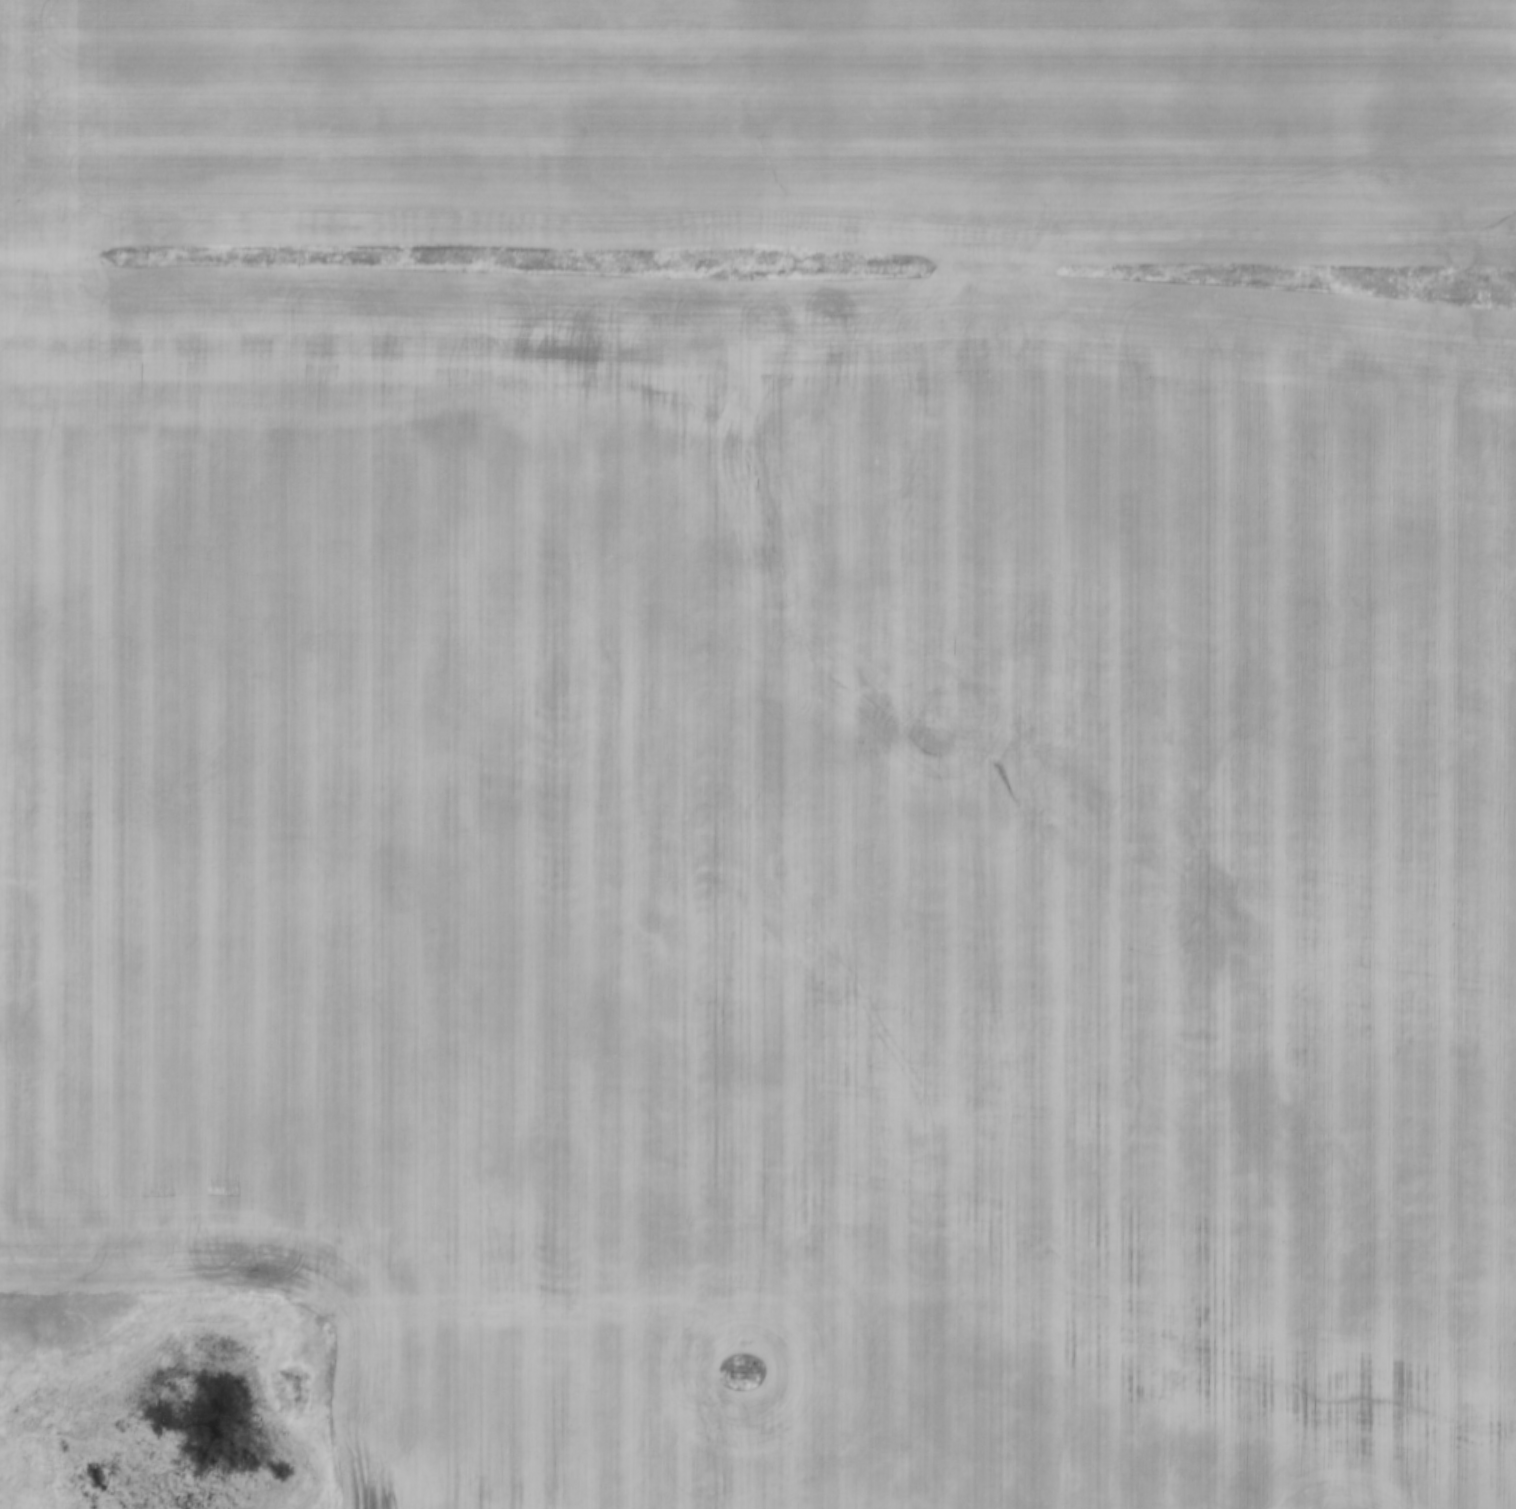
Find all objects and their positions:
road: (349, 1308)

